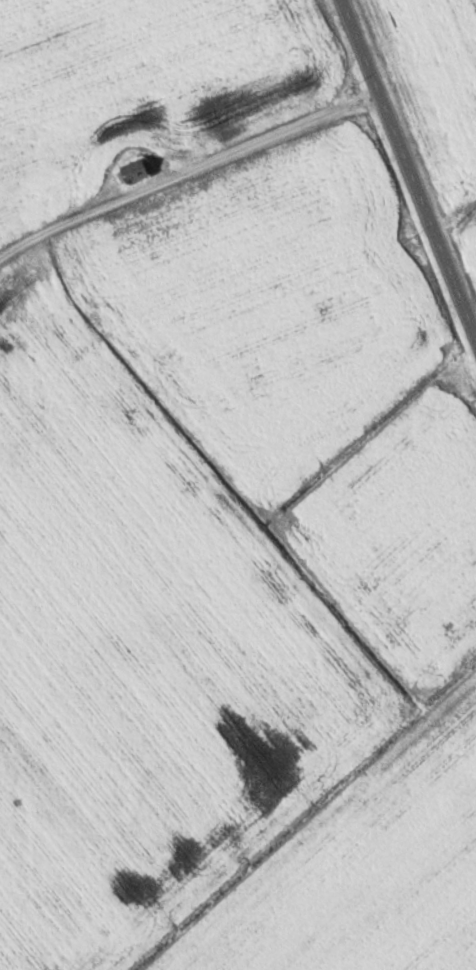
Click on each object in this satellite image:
road: (418, 145)
building: (138, 173)
building: (27, 280)
power tower: (456, 428)

